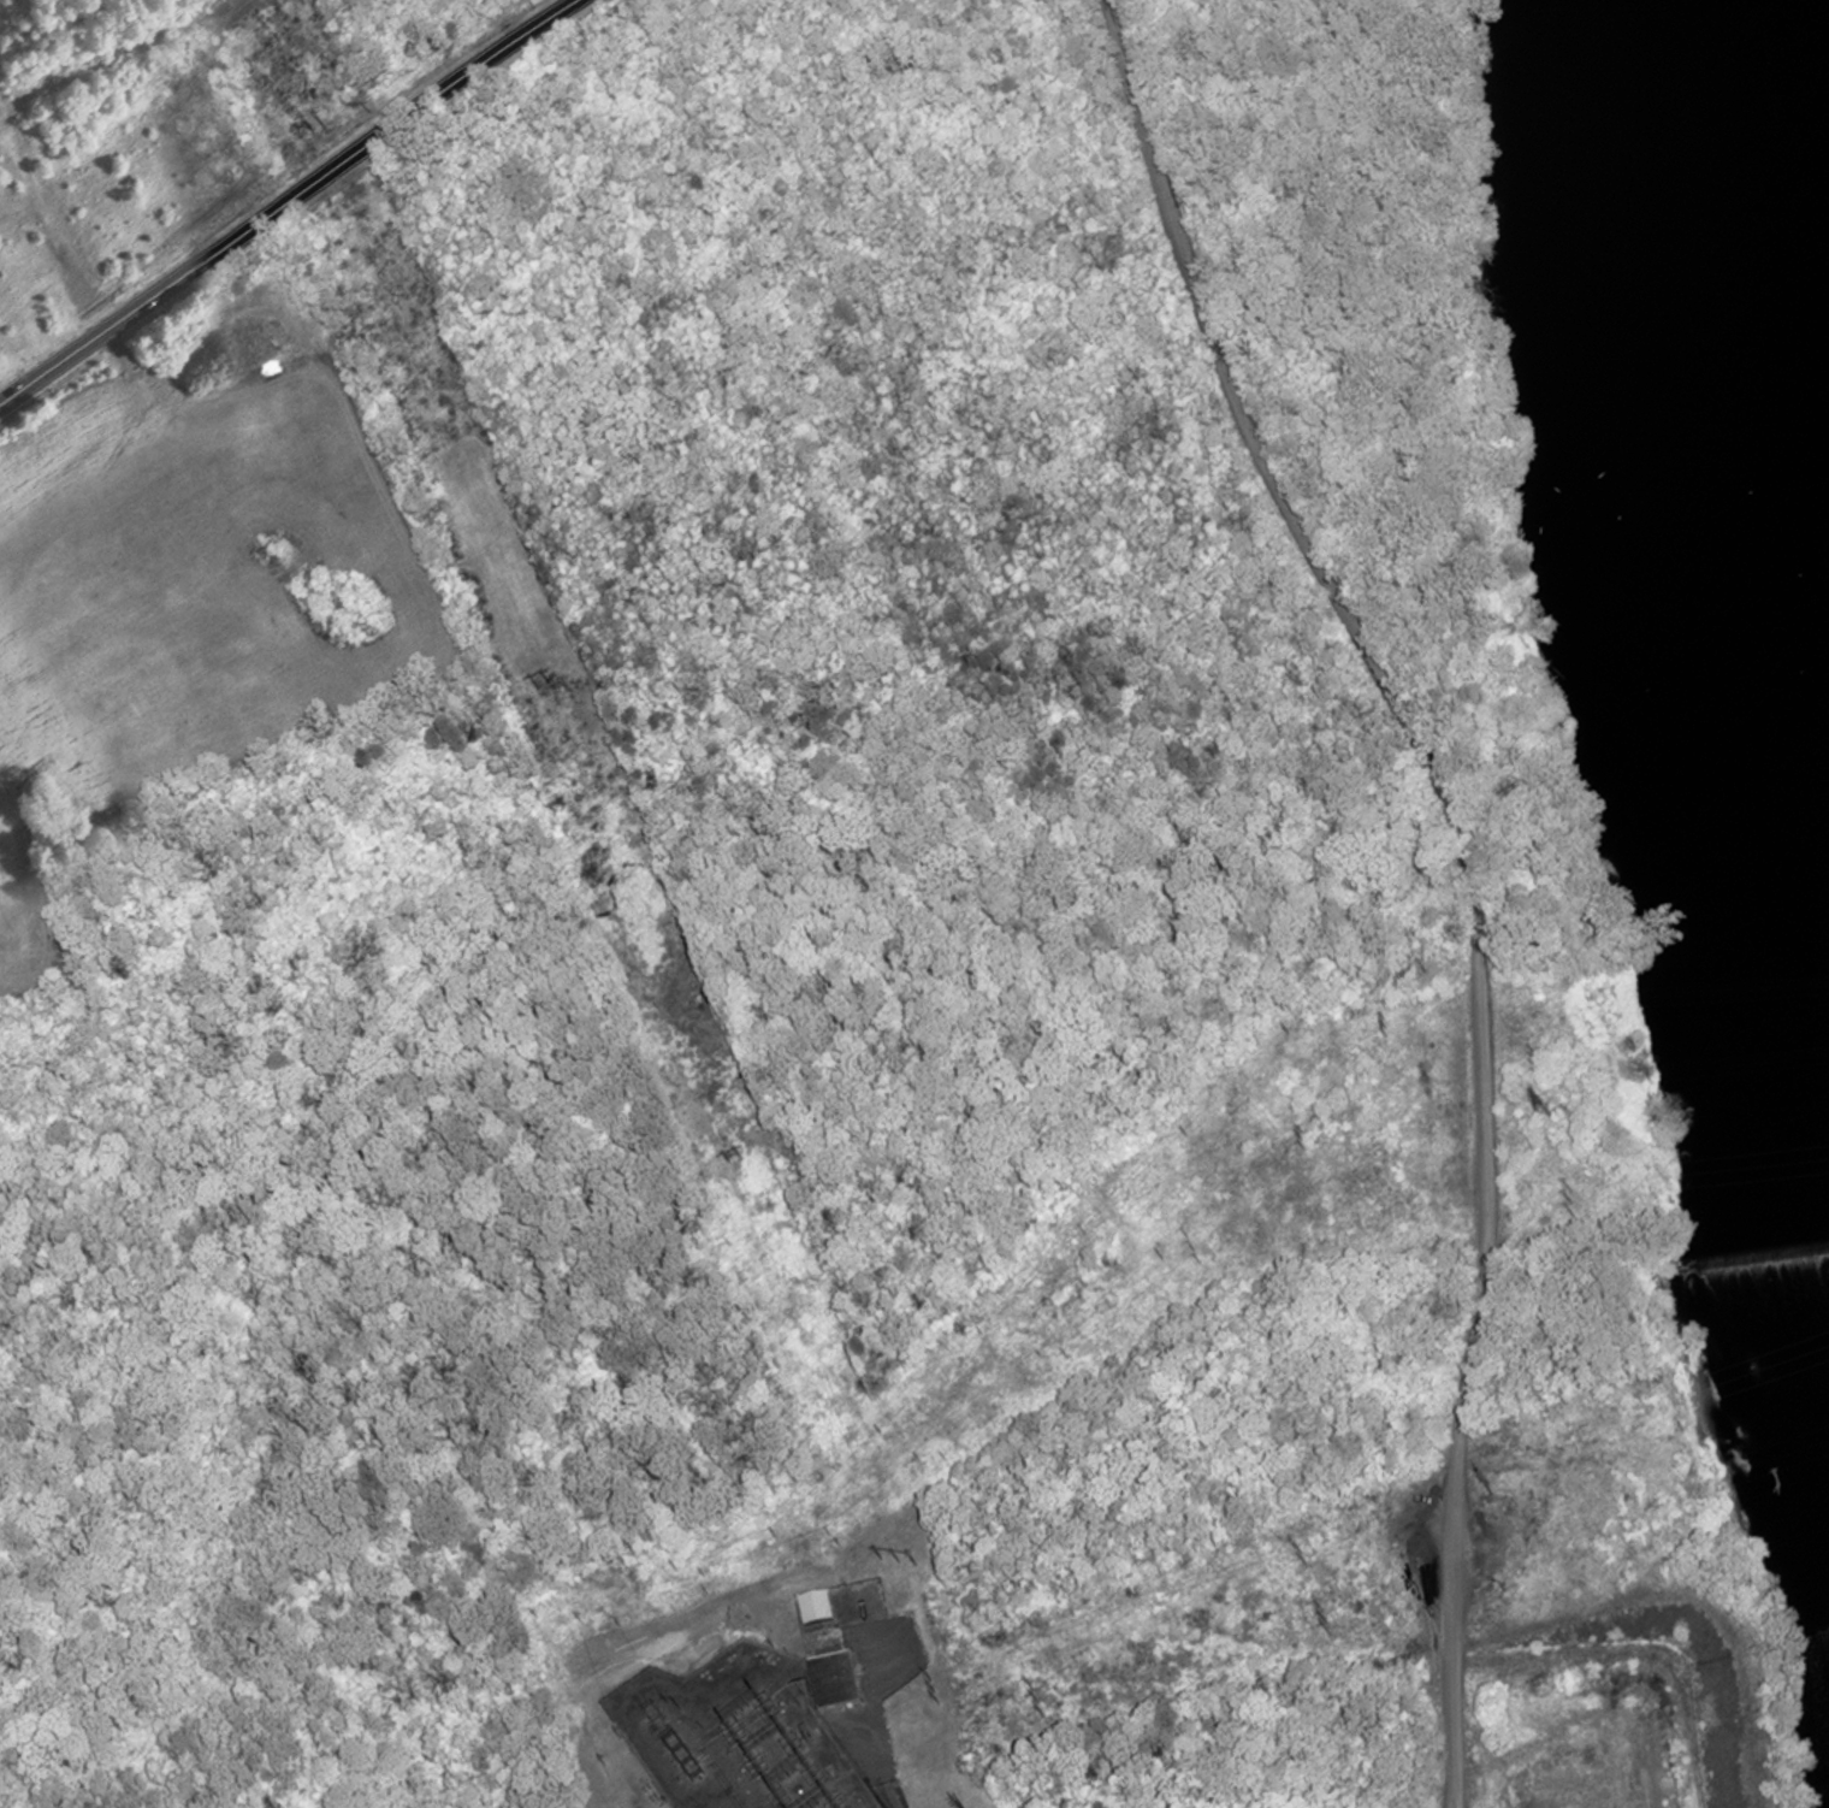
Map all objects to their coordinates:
power tower: (319, 130)
road: (284, 195)
river: (1764, 366)
power tower: (546, 687)
road: (1468, 867)
power tower: (1541, 1110)
power tower: (736, 1160)
power tower: (1491, 1490)
power tower: (1303, 1558)
power tower: (898, 1560)
power tower: (1325, 1621)
building: (839, 1655)
power tower: (935, 1692)
power tower: (1041, 1709)
road: (875, 1719)
power substation: (739, 1735)

